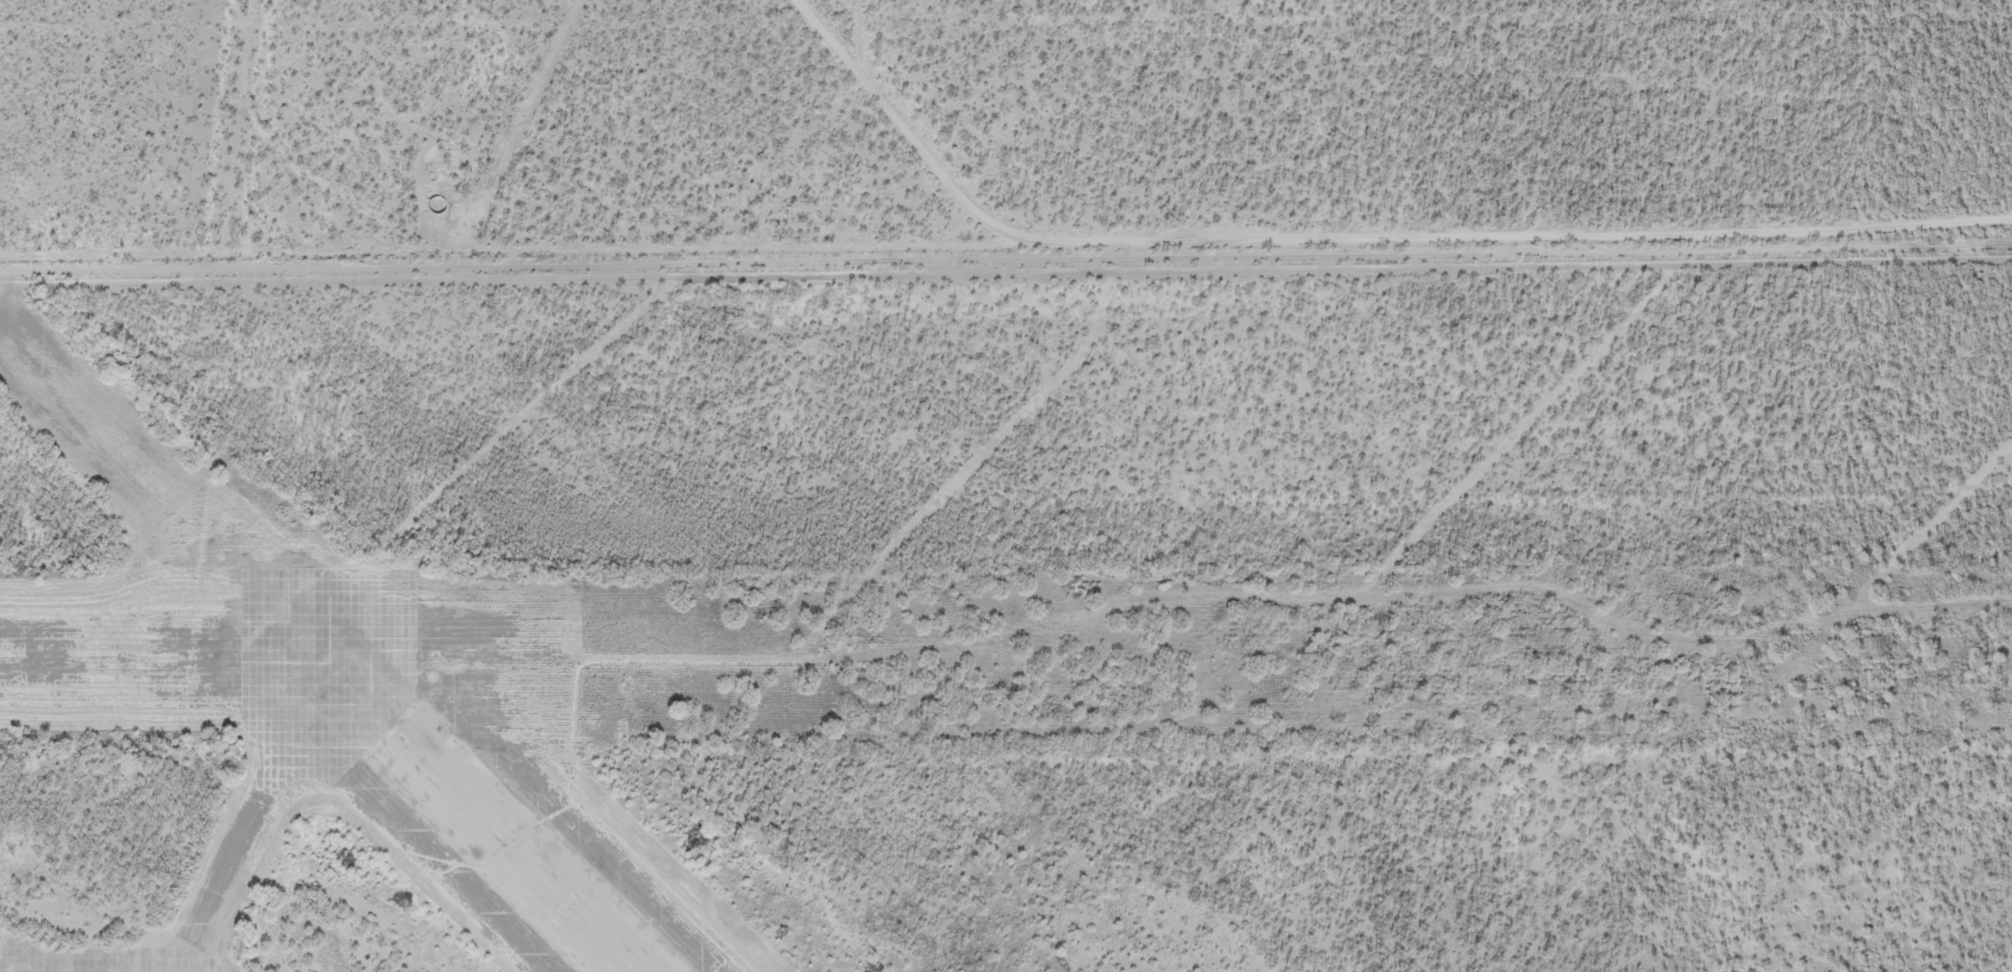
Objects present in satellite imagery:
road: (794, 121)
road: (1037, 249)
airport: (1012, 612)
airport taxiway: (275, 780)
airport runway: (514, 852)
airport apron: (108, 960)

